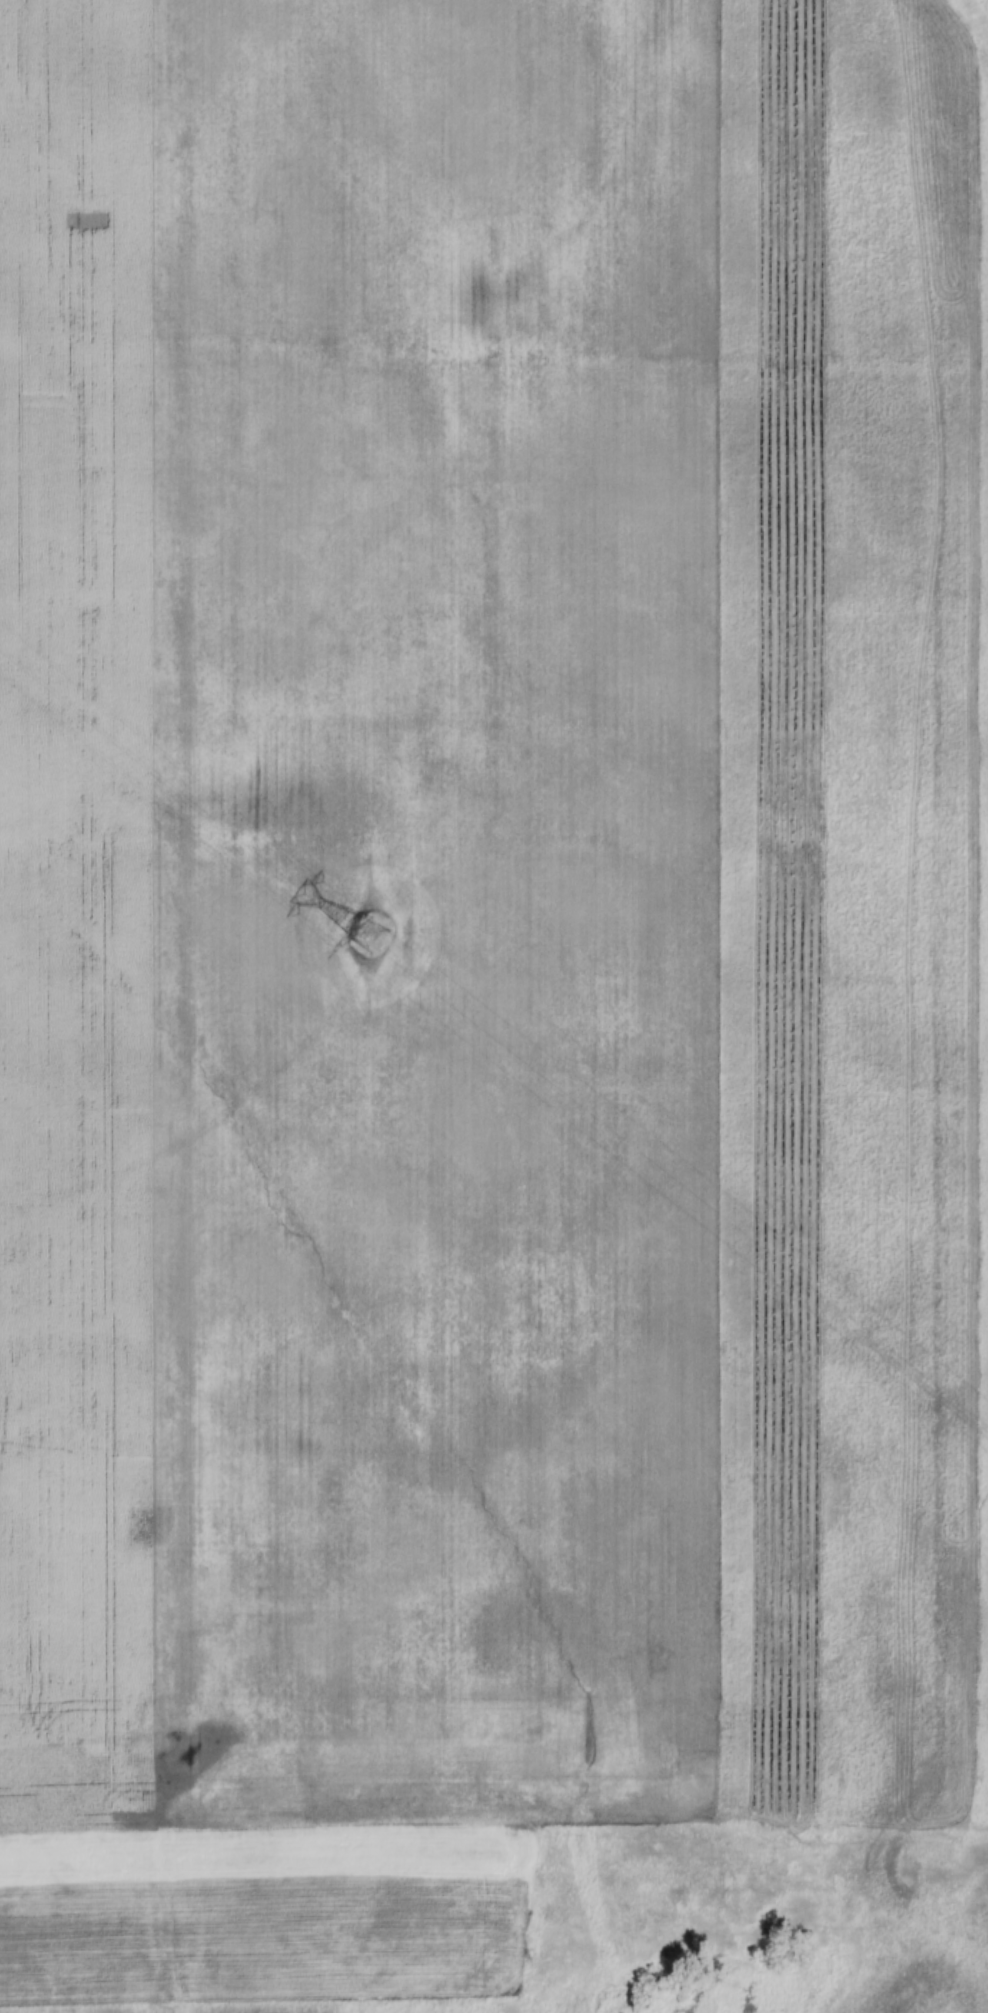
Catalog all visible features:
power tower: (369, 937)

